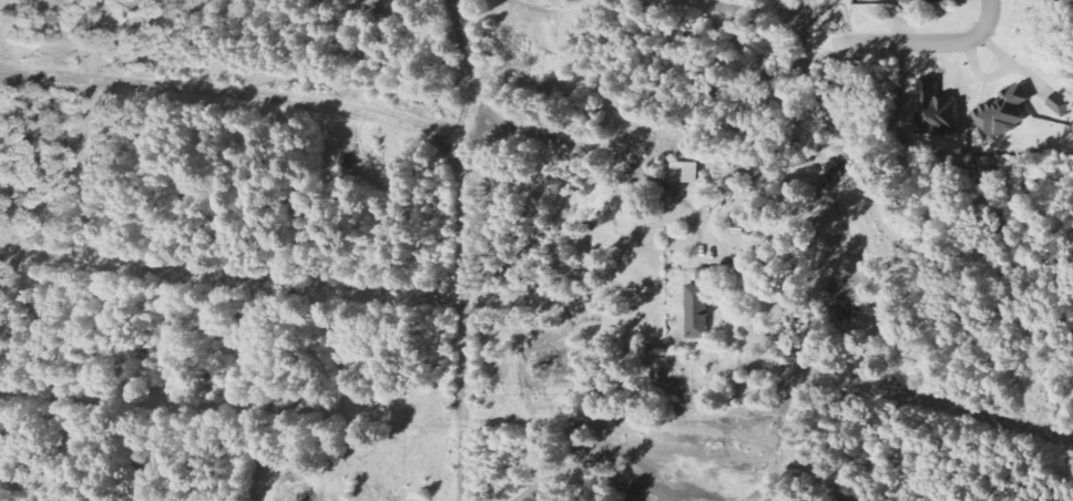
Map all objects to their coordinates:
building: (920, 1)
road: (765, 8)
road: (562, 10)
road: (917, 42)
road: (236, 96)
building: (1060, 104)
building: (934, 109)
building: (1001, 113)
building: (685, 173)
road: (467, 248)
building: (699, 305)
road: (779, 418)
road: (525, 458)
road: (668, 467)

